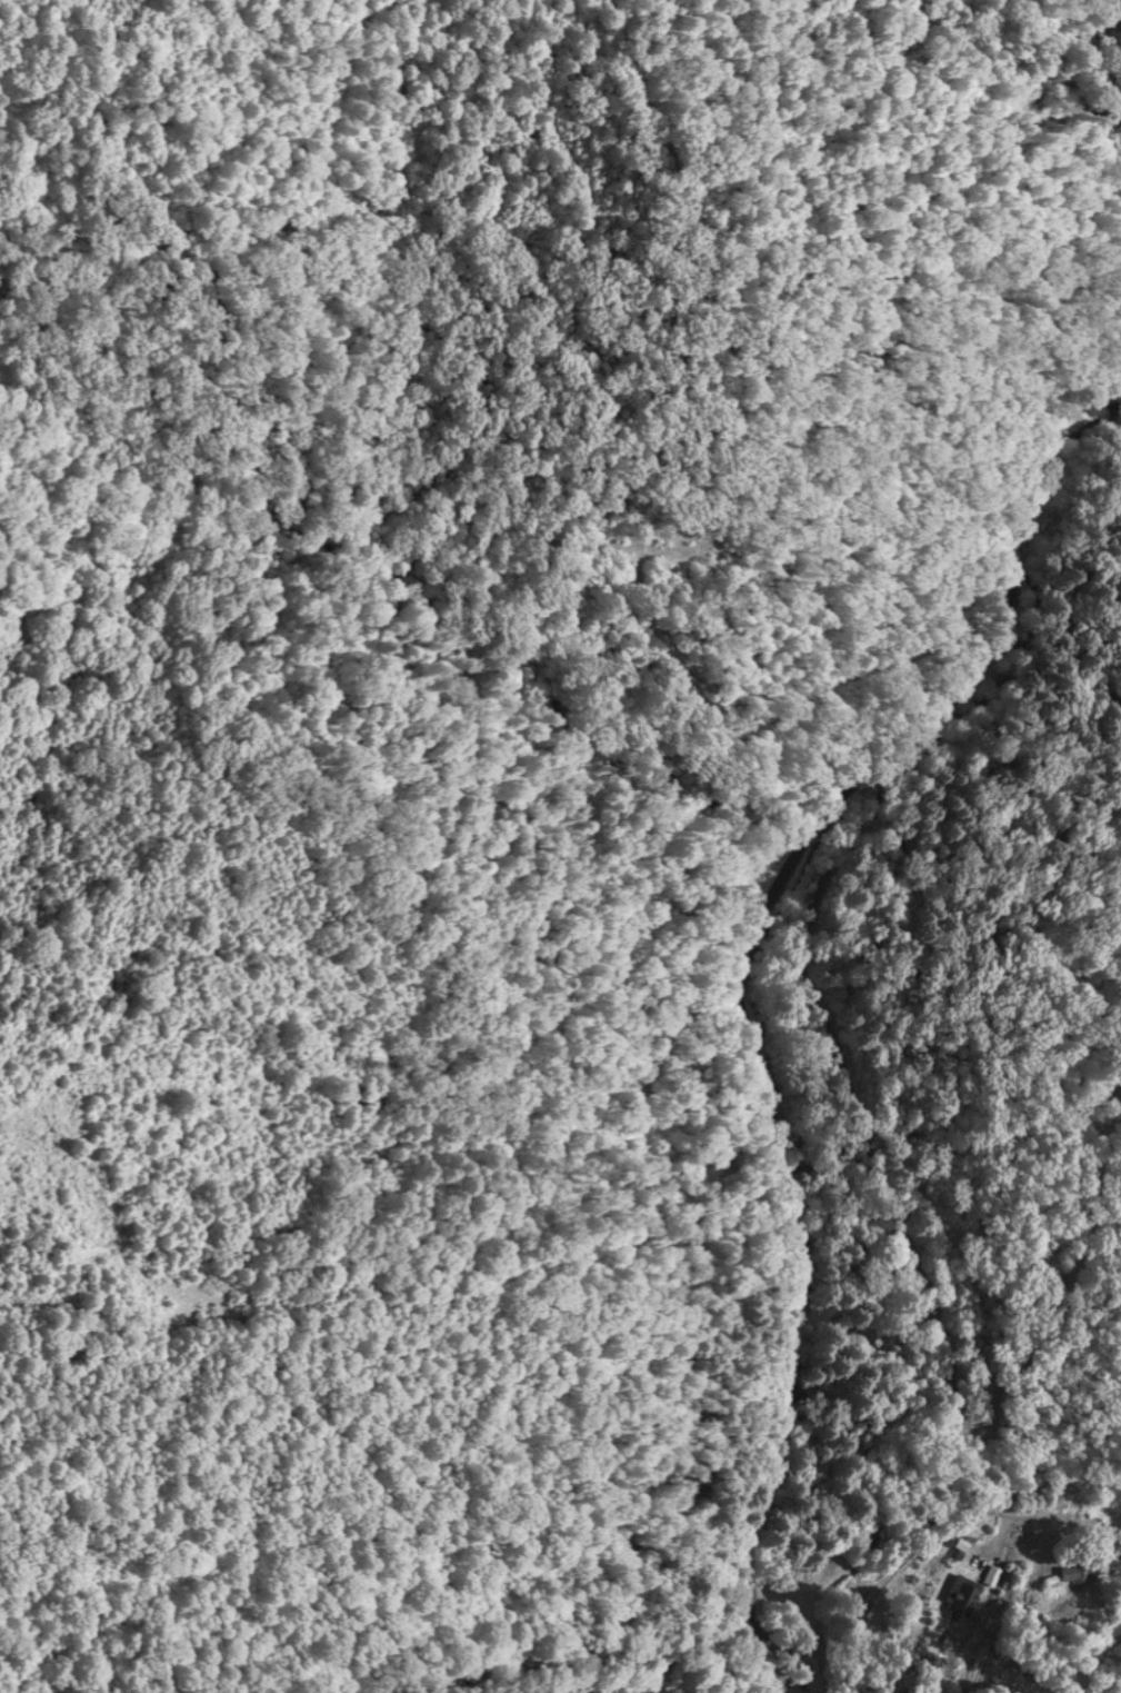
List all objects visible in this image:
road: (741, 975)
road: (940, 1356)
road: (938, 1536)
road: (1000, 1538)
building: (1079, 1570)
building: (960, 1592)
road: (779, 1686)

